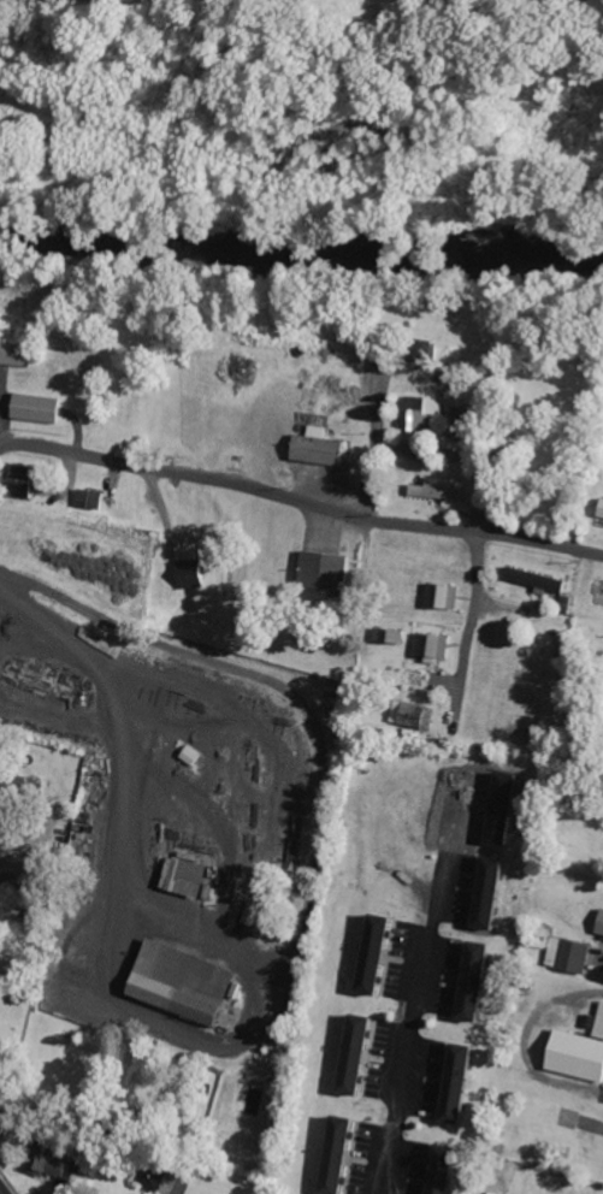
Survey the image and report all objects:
building: (19, 354)
building: (41, 408)
building: (416, 414)
building: (469, 424)
building: (324, 448)
building: (441, 492)
building: (94, 498)
road: (300, 504)
road: (363, 544)
building: (329, 569)
building: (196, 573)
building: (538, 579)
building: (447, 596)
building: (394, 634)
building: (434, 645)
road: (468, 708)
building: (413, 715)
building: (5, 784)
building: (190, 875)
building: (496, 893)
building: (253, 912)
building: (601, 926)
building: (382, 954)
building: (571, 954)
building: (188, 982)
building: (481, 982)
building: (579, 1053)
building: (362, 1054)
building: (2, 1080)
building: (465, 1084)
building: (344, 1155)
building: (53, 1162)
building: (449, 1170)
building: (155, 1176)
road: (0, 1193)

